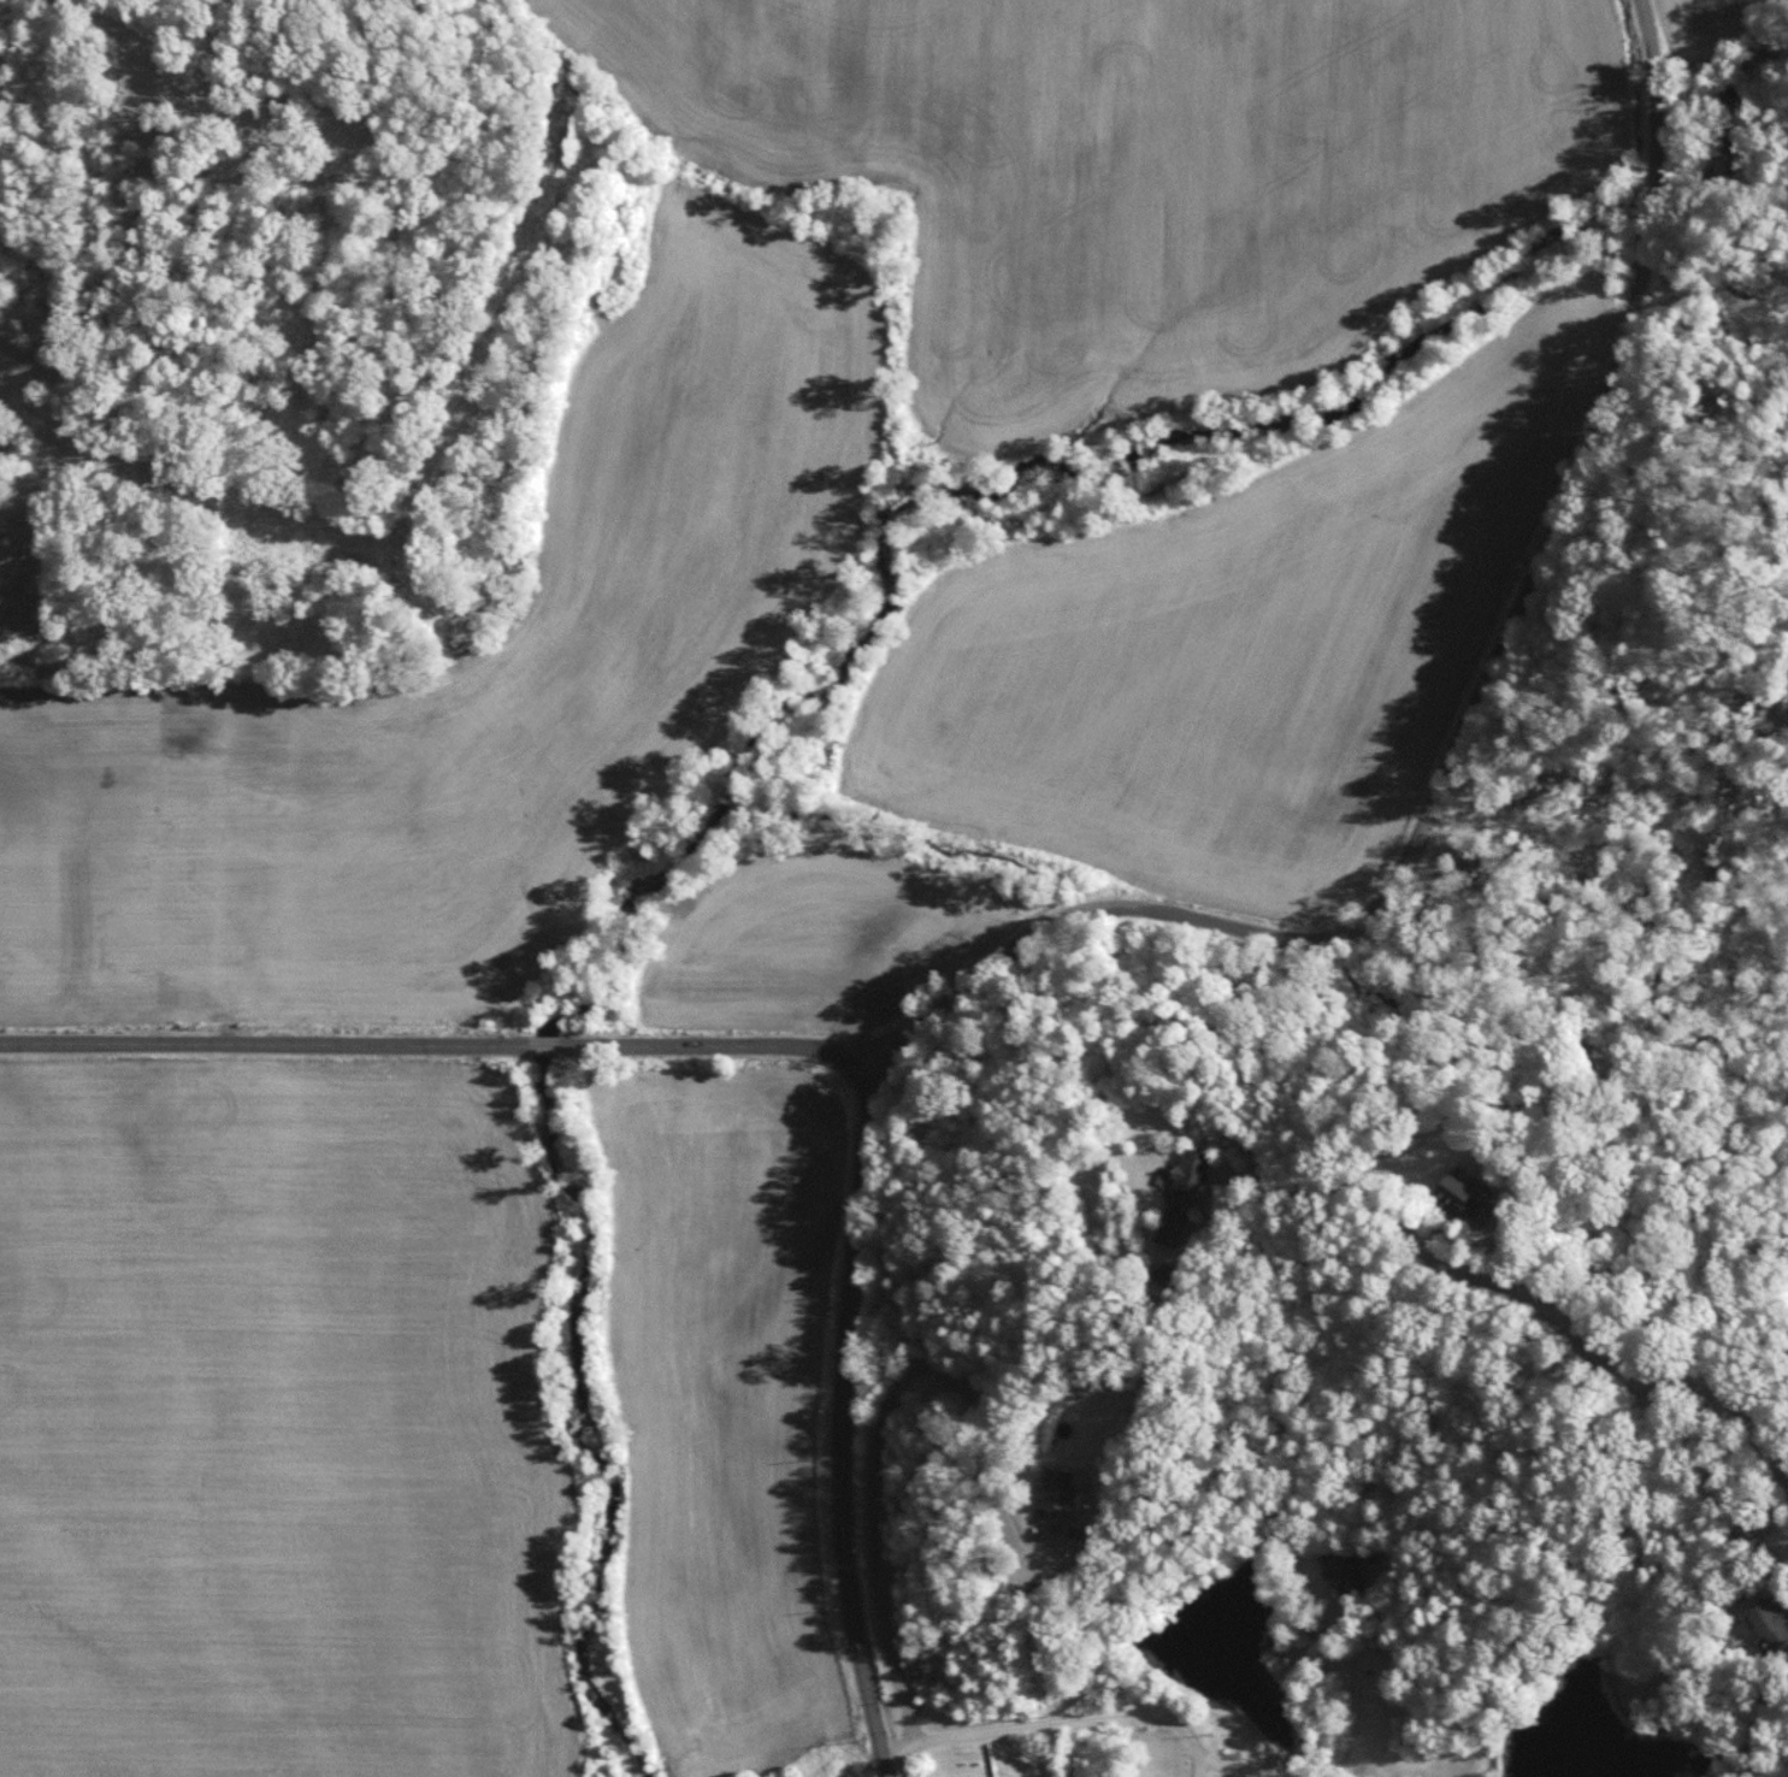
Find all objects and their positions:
road: (1469, 746)
road: (439, 1029)
building: (1181, 1197)
building: (1464, 1197)
road: (1528, 1298)
road: (834, 1425)
road: (875, 1434)
building: (1051, 1486)
building: (1344, 1566)
building: (1768, 1619)
road: (1064, 1717)
road: (1340, 1742)
building: (852, 1776)
building: (989, 1776)

